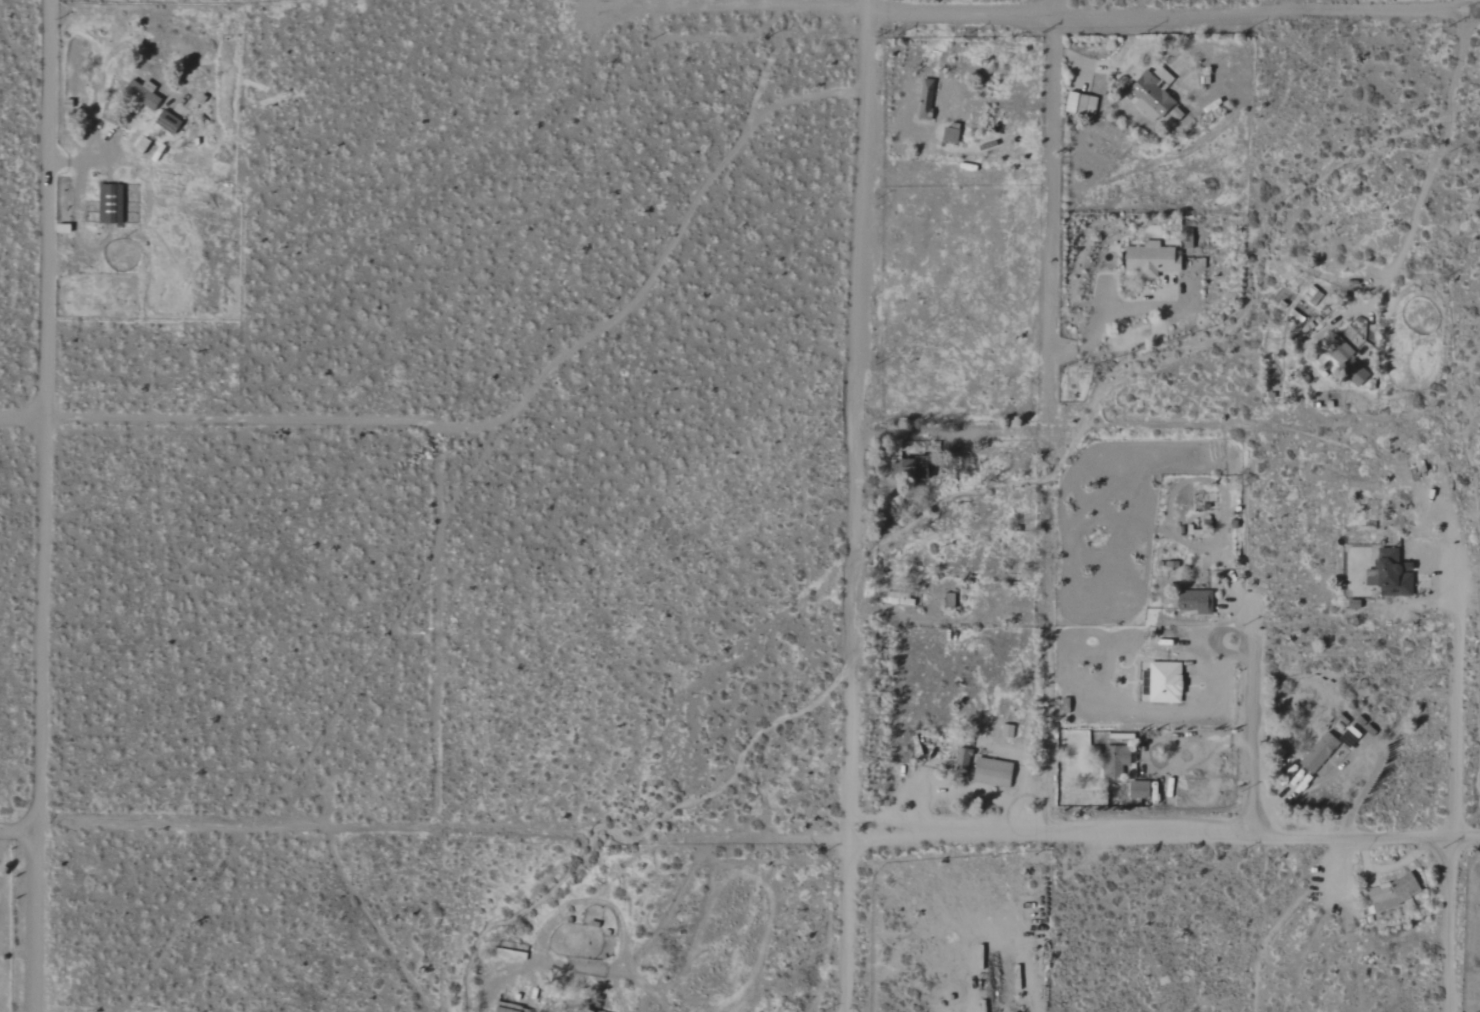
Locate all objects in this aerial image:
road: (1461, 5)
road: (759, 7)
road: (1055, 7)
road: (1172, 12)
building: (146, 94)
building: (1153, 94)
building: (928, 100)
building: (1083, 104)
building: (1176, 114)
building: (953, 134)
road: (1443, 150)
road: (120, 163)
building: (112, 204)
road: (45, 208)
road: (672, 240)
road: (1100, 325)
building: (1345, 363)
road: (219, 420)
road: (465, 427)
building: (917, 471)
road: (845, 505)
road: (1048, 519)
building: (1387, 573)
building: (952, 600)
building: (1194, 601)
building: (1161, 682)
road: (37, 713)
road: (1251, 718)
building: (1010, 731)
building: (1317, 752)
road: (1354, 752)
building: (965, 758)
building: (1114, 761)
building: (995, 772)
building: (1137, 790)
road: (1457, 792)
road: (18, 828)
road: (1162, 837)
building: (1390, 893)
road: (578, 969)
building: (509, 1009)

